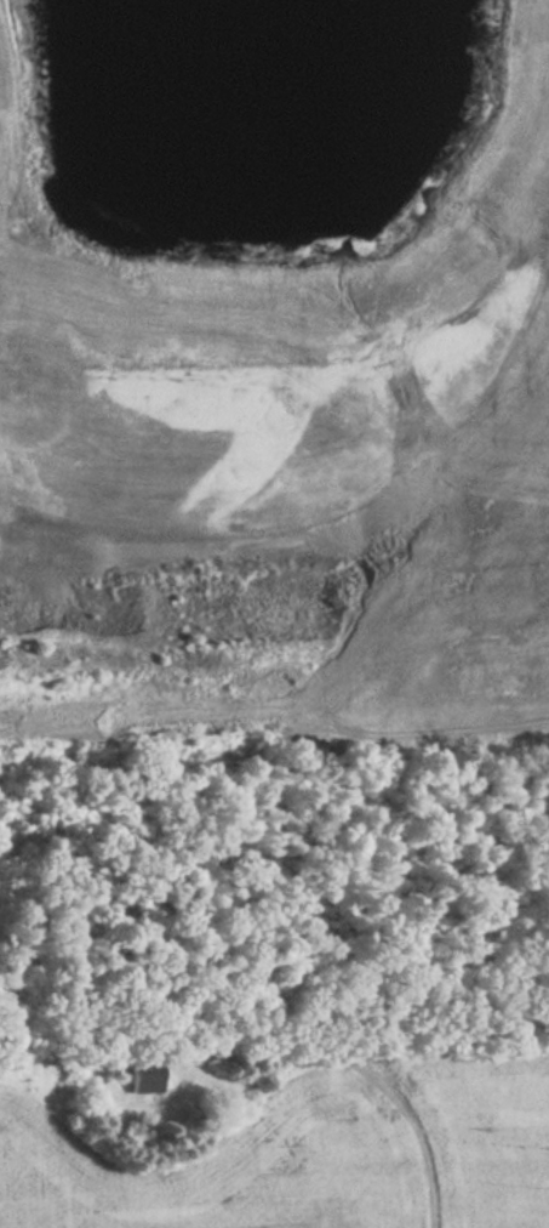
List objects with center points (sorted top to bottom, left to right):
quarry: (271, 381)
road: (360, 1065)
building: (145, 1076)

